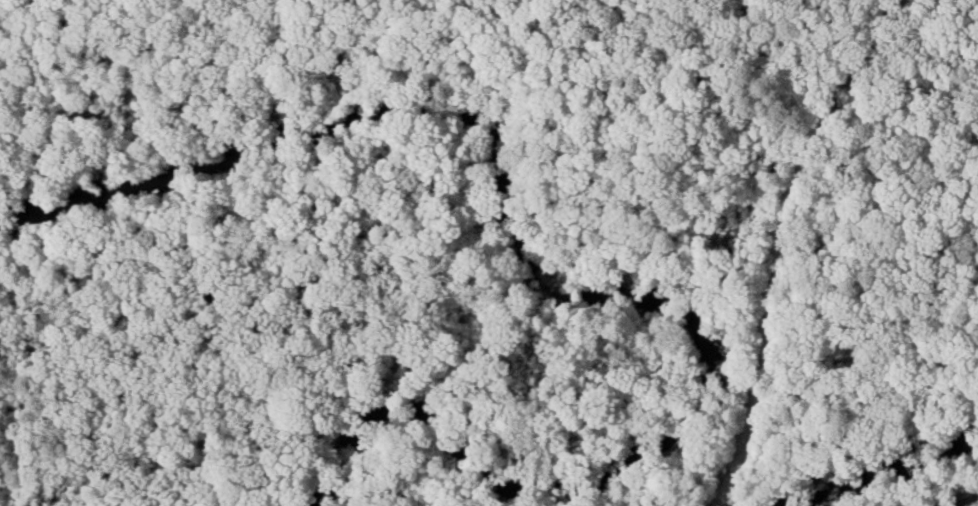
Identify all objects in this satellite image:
road: (965, 501)

